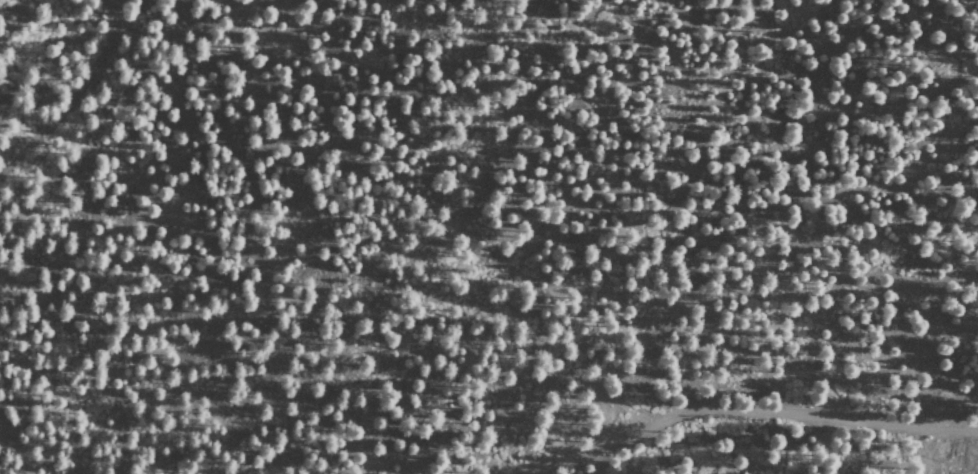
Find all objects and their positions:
road: (76, 94)
road: (749, 411)
road: (13, 454)

